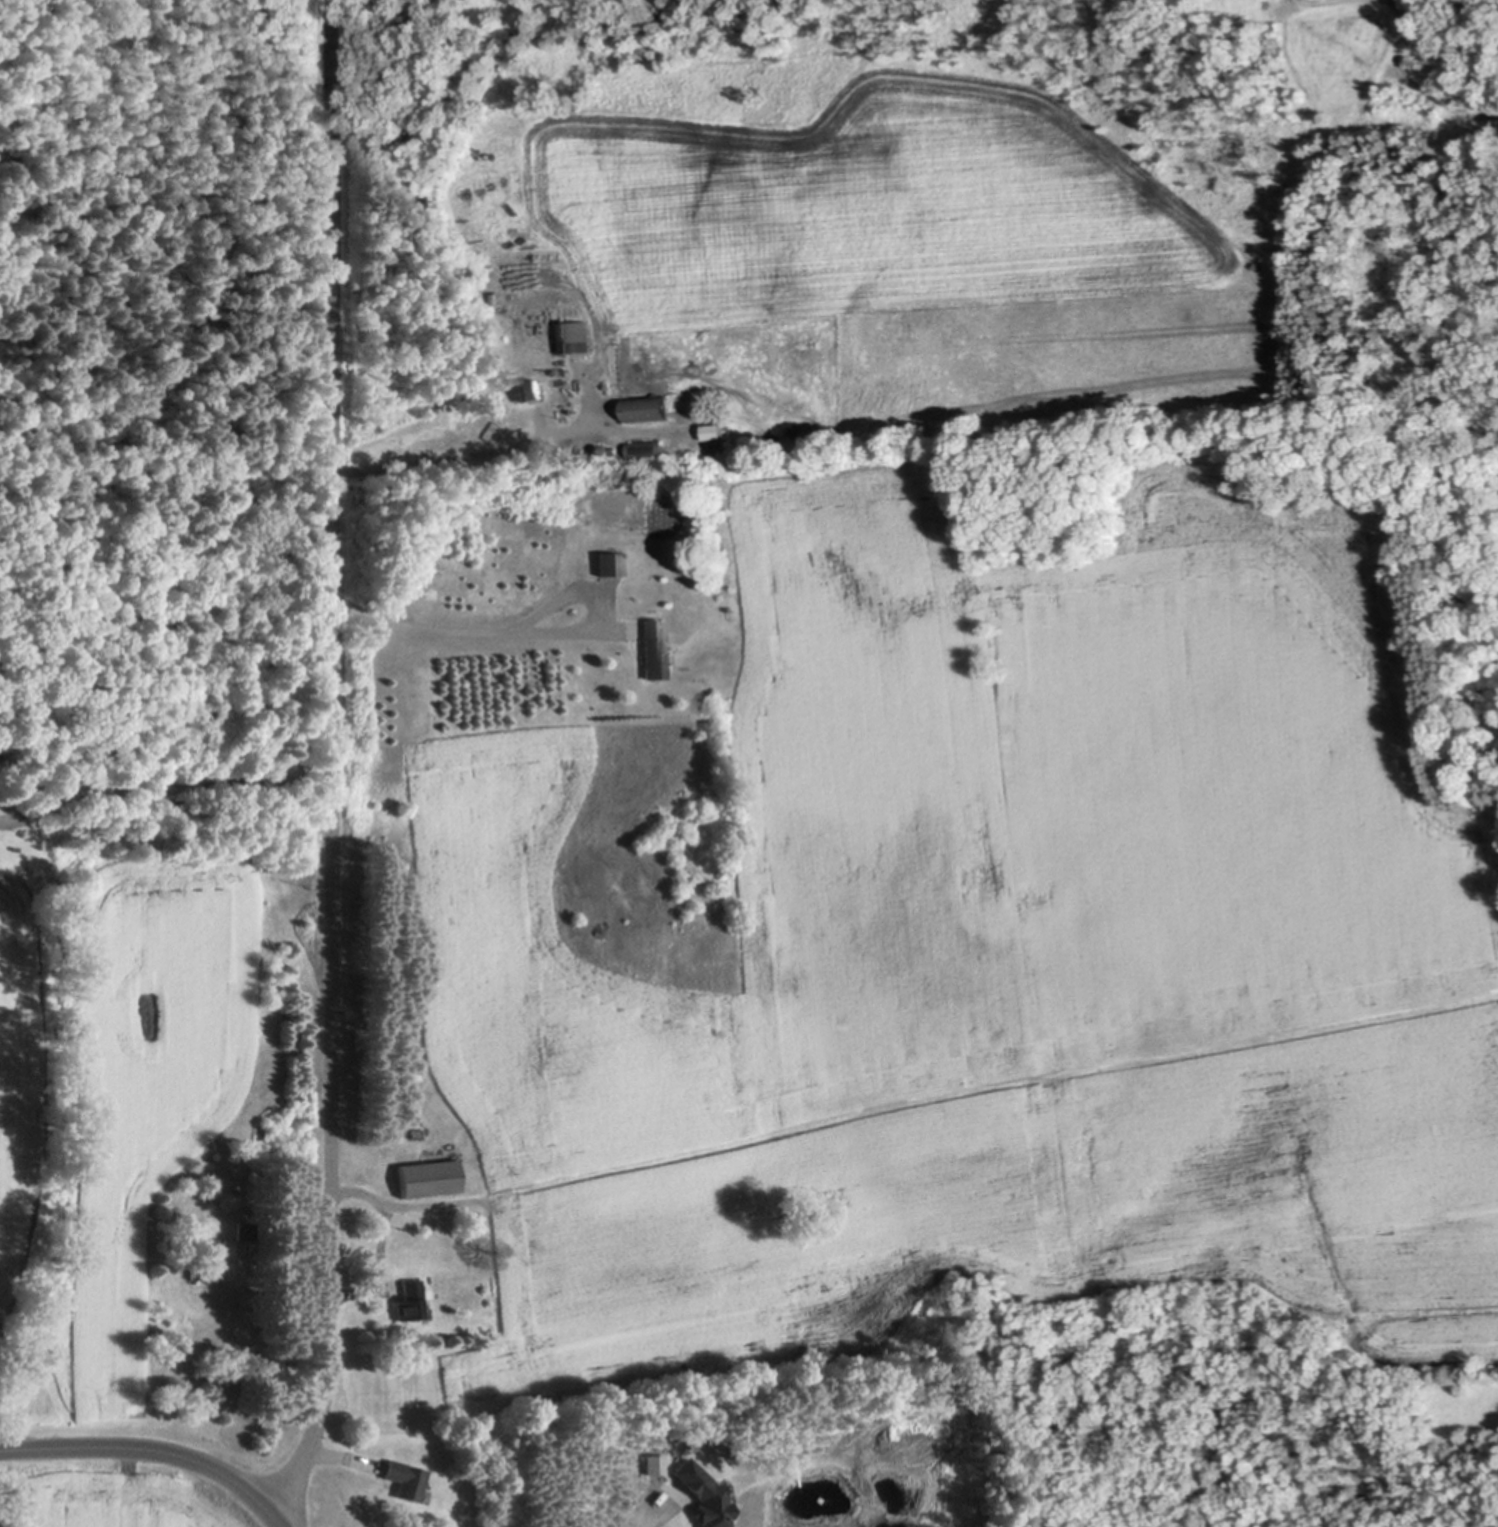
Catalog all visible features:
building: (536, 84)
building: (535, 233)
building: (575, 335)
building: (530, 389)
building: (702, 397)
building: (707, 405)
building: (648, 407)
building: (715, 431)
building: (605, 447)
building: (647, 448)
road: (464, 463)
building: (610, 563)
road: (451, 634)
building: (653, 648)
road: (332, 760)
road: (162, 786)
building: (429, 1176)
building: (416, 1216)
building: (244, 1236)
road: (385, 1245)
building: (209, 1257)
building: (410, 1301)
road: (154, 1452)
building: (407, 1479)
building: (696, 1494)
road: (641, 1515)
building: (415, 1519)

